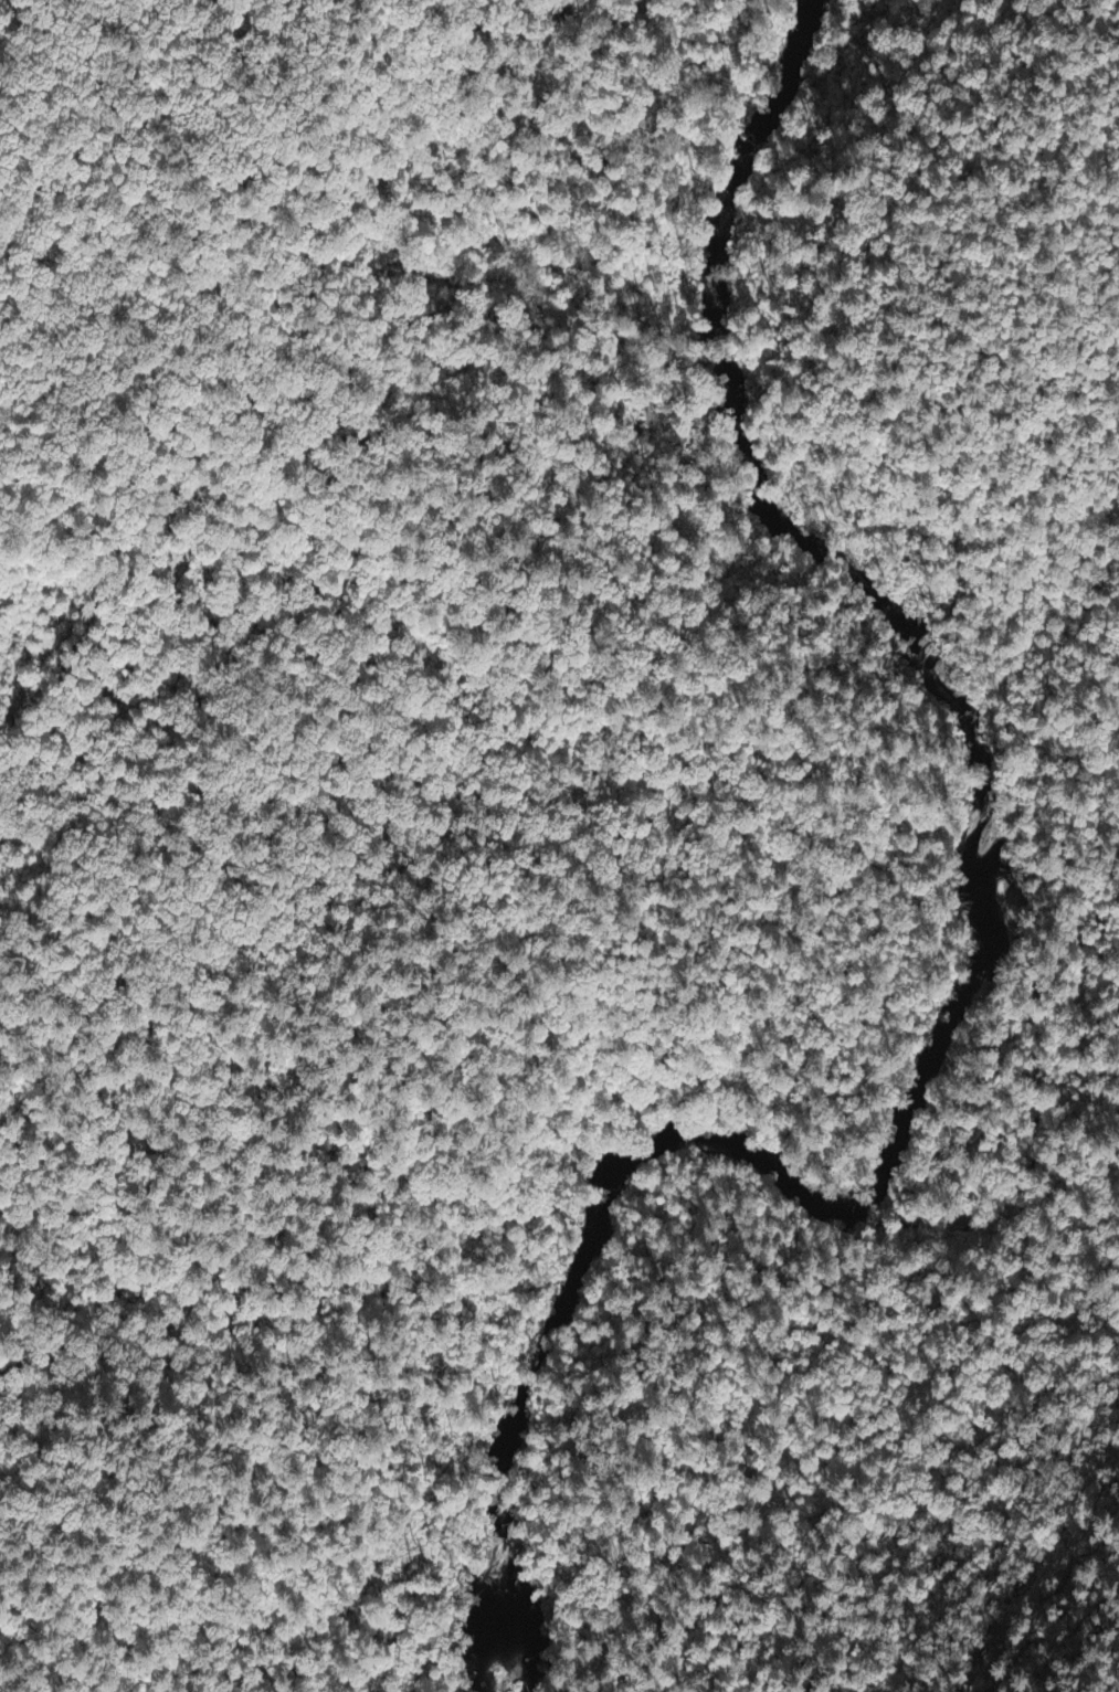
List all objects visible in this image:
river: (972, 984)

